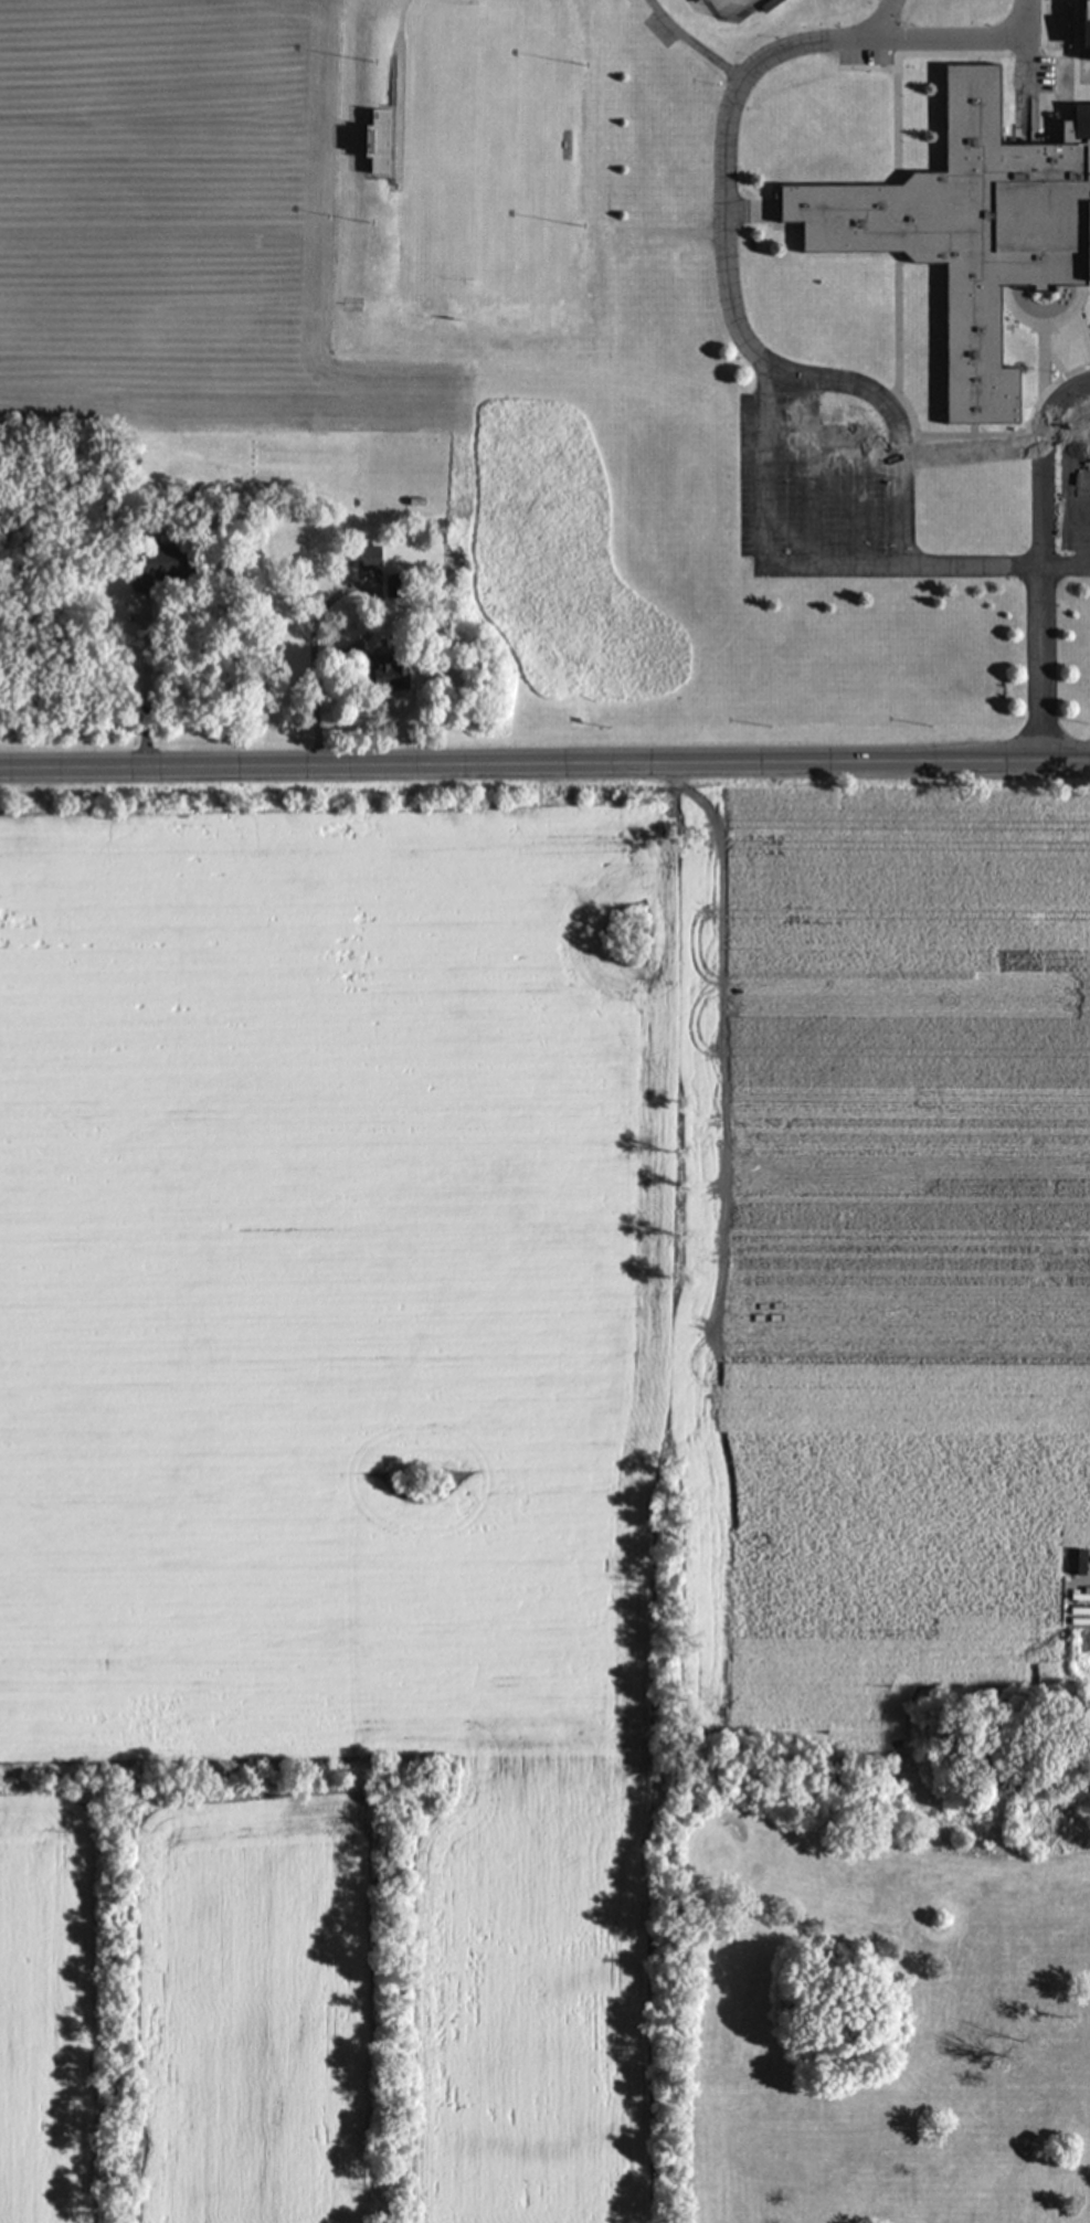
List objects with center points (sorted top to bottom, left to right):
building: (377, 117)
building: (963, 230)
road: (728, 322)
road: (760, 534)
road: (1040, 550)
building: (367, 558)
building: (151, 564)
building: (382, 674)
road: (544, 760)
building: (1081, 829)
building: (1082, 906)
building: (1075, 1562)

